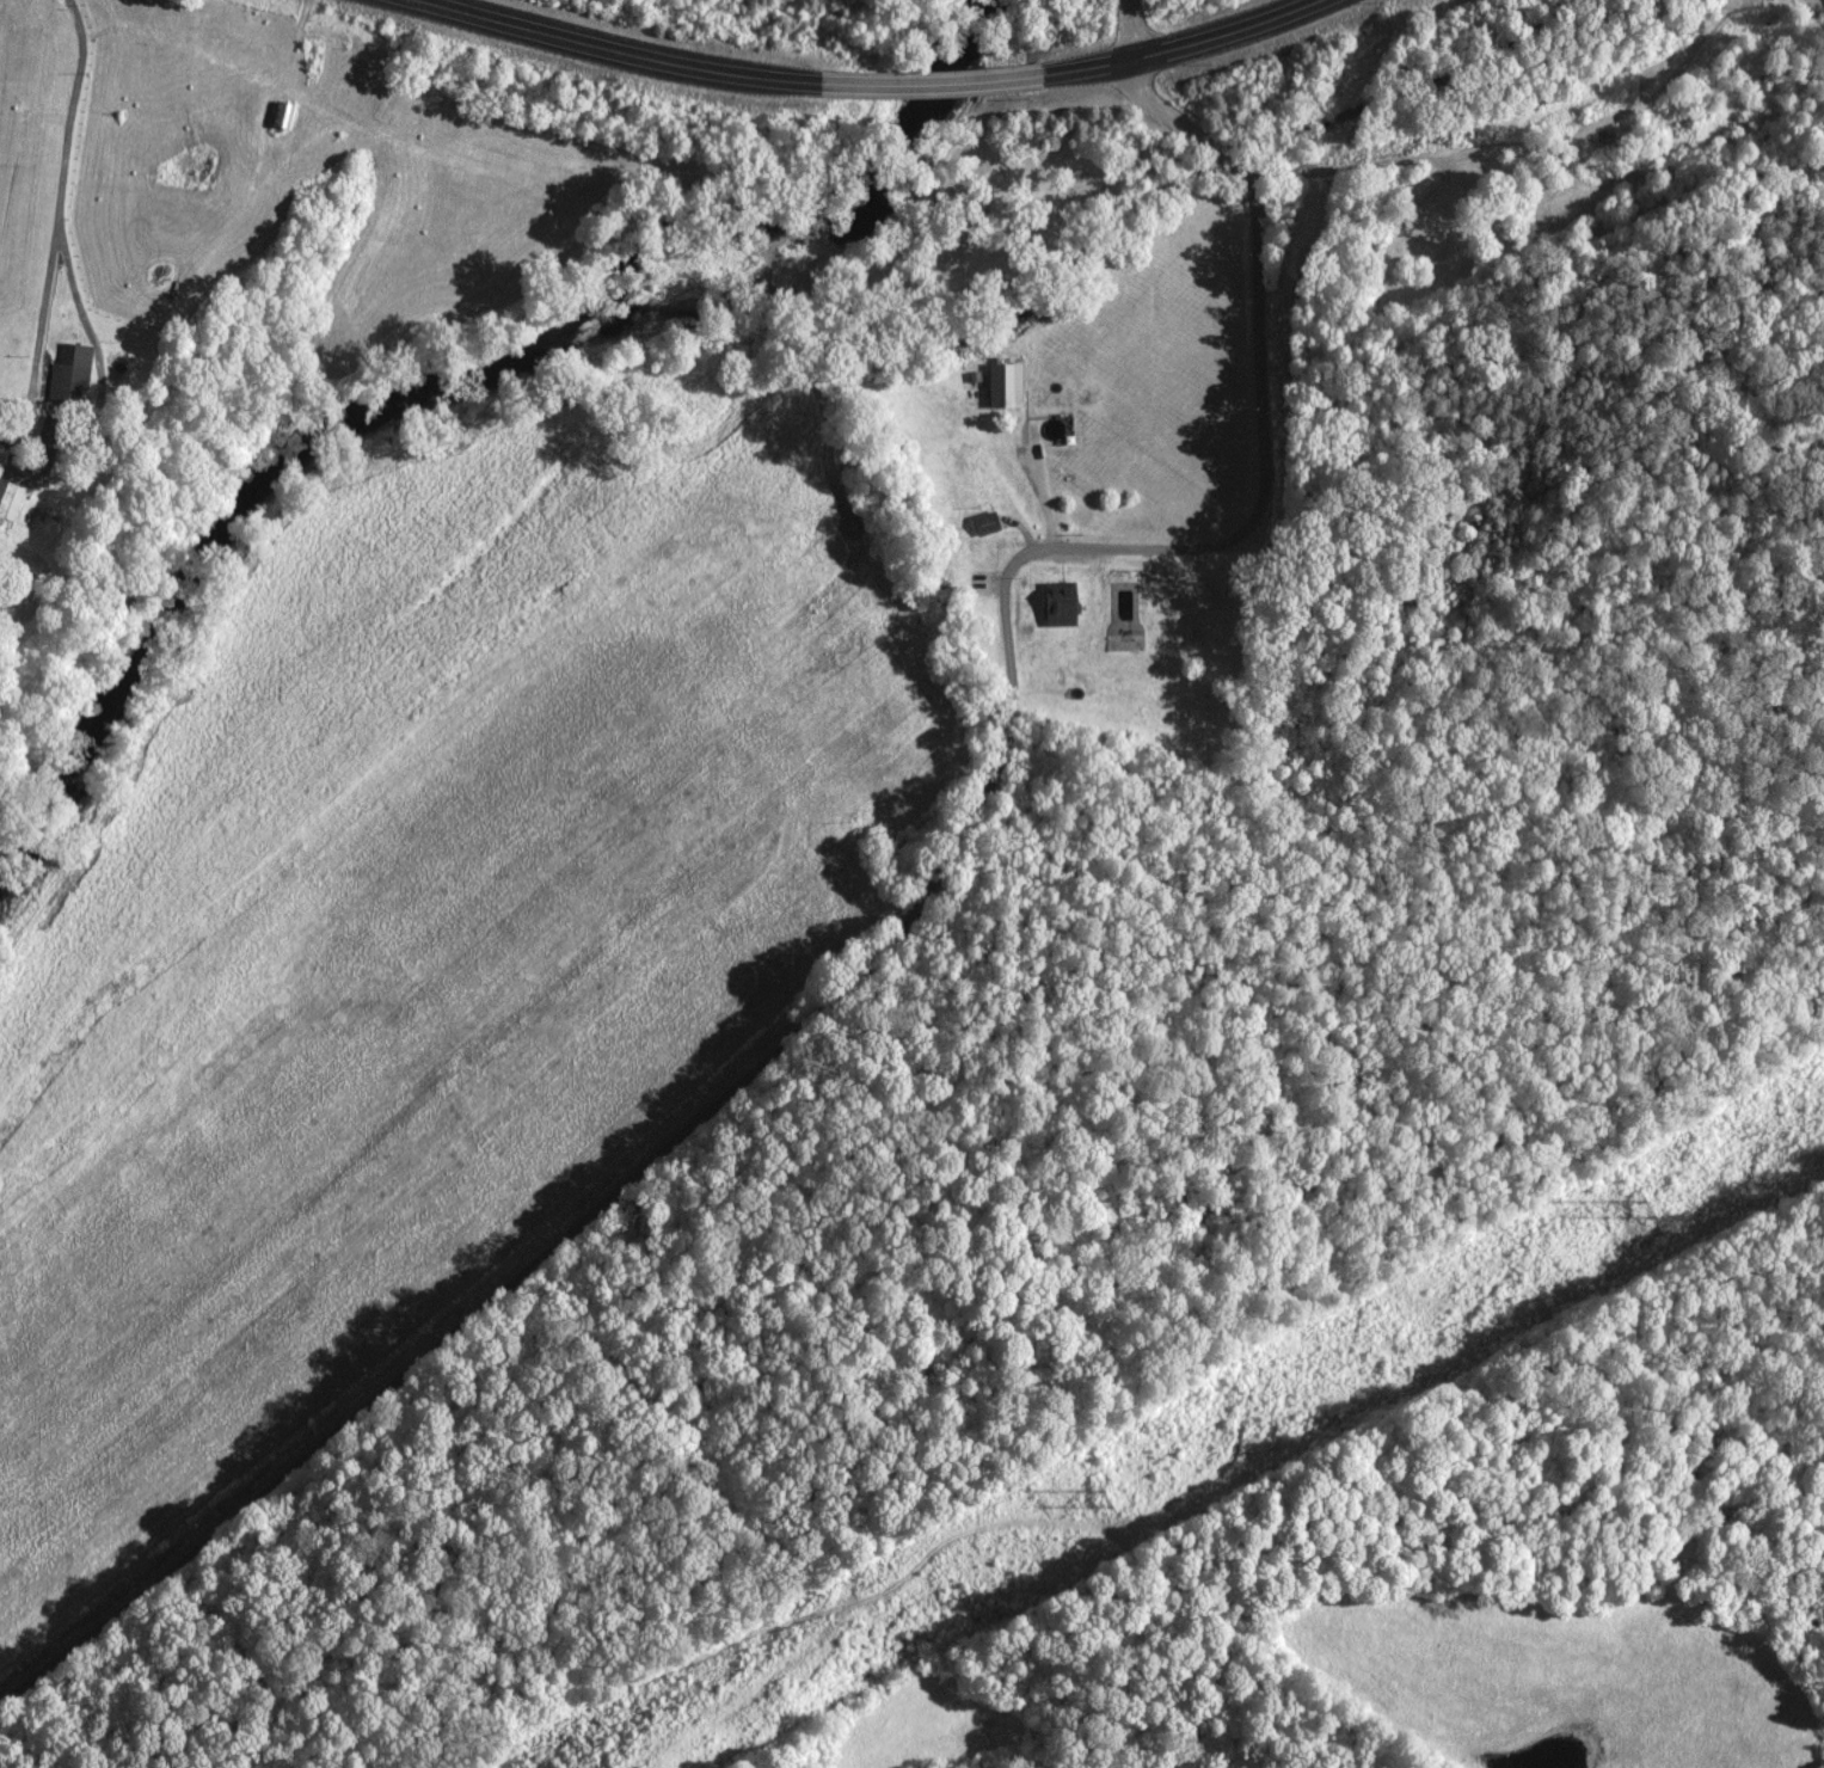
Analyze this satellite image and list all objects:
road: (1128, 30)
road: (864, 84)
building: (280, 115)
building: (1435, 225)
building: (63, 383)
building: (1001, 386)
building: (7, 503)
building: (982, 523)
building: (1056, 604)
building: (1159, 634)
building: (1120, 641)
road: (868, 951)
power tower: (1640, 1210)
power tower: (1100, 1502)

